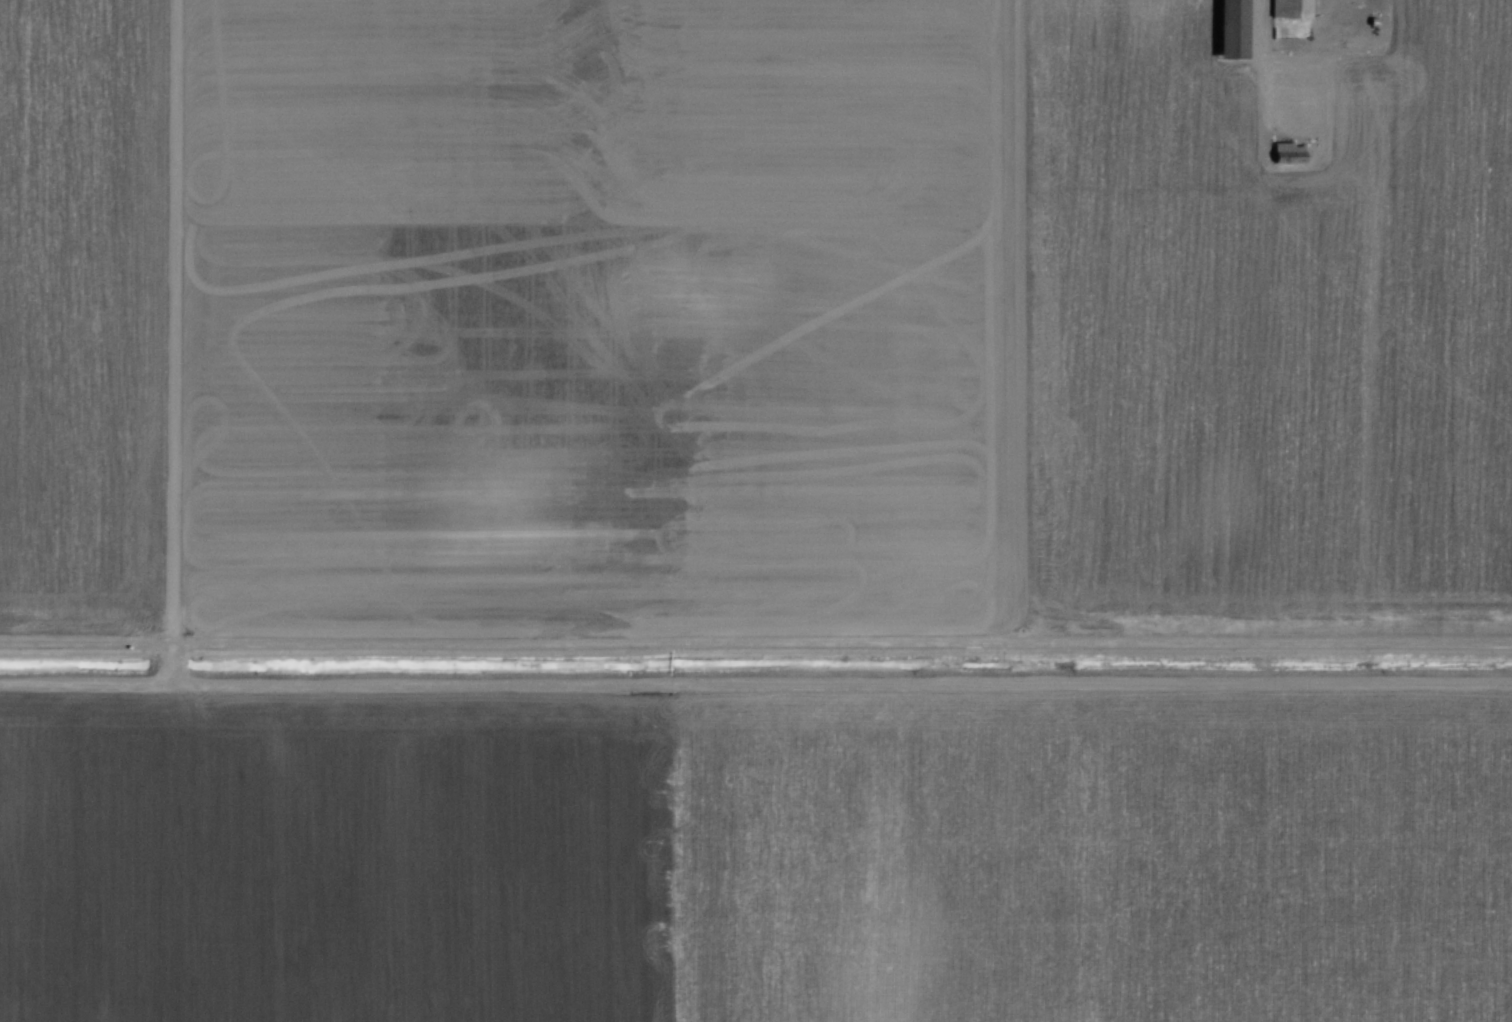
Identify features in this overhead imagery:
building: (1227, 30)
building: (1287, 156)

